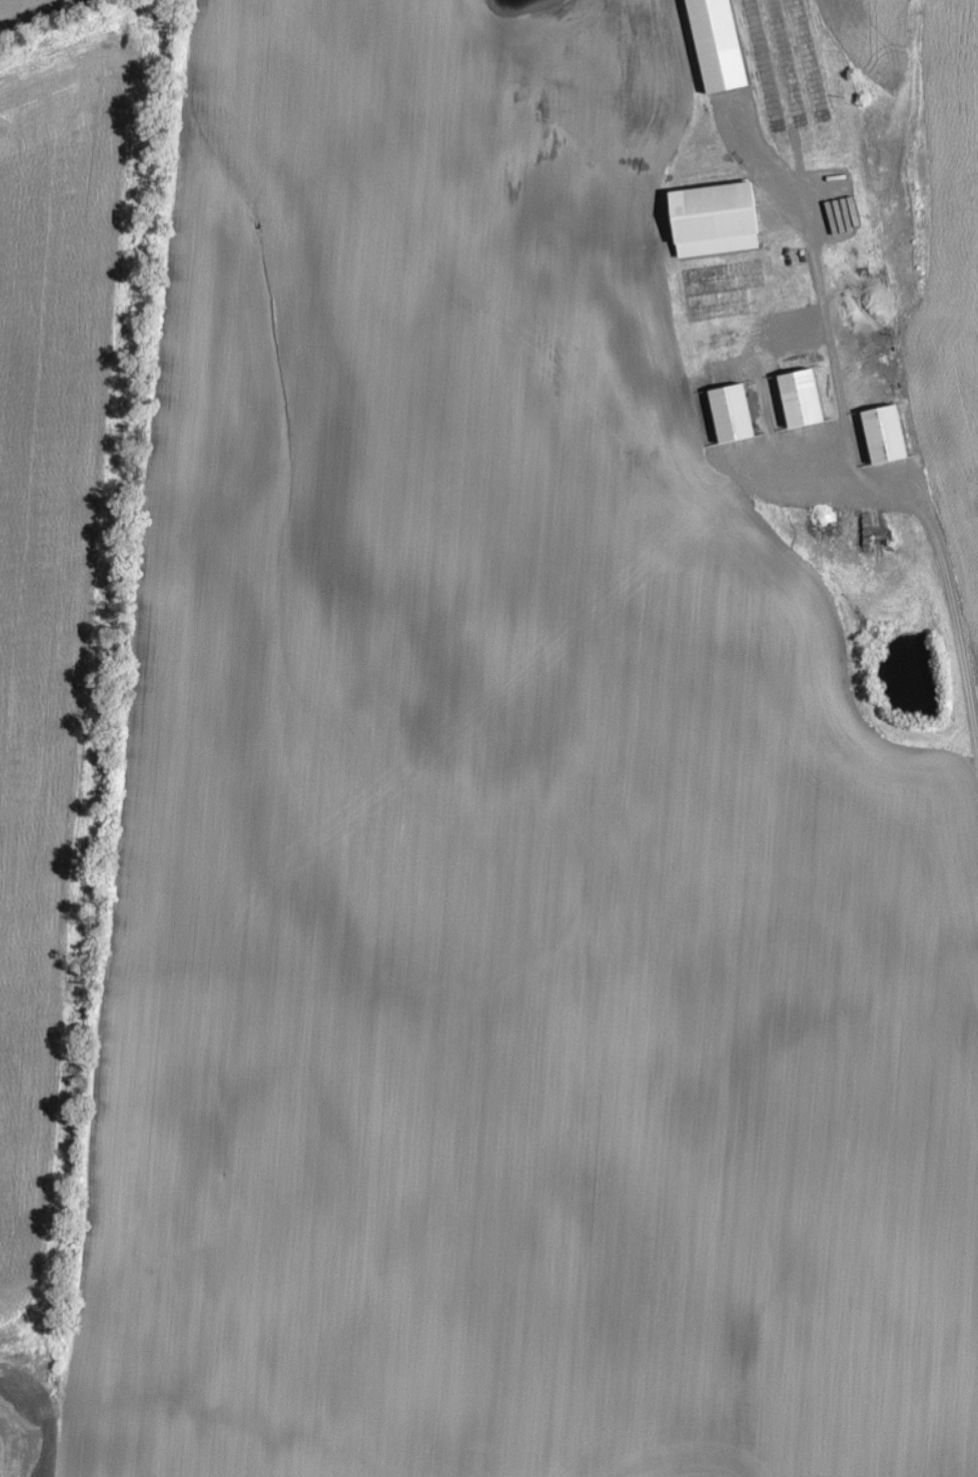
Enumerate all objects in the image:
building: (716, 46)
building: (713, 222)
building: (731, 416)
building: (884, 437)

